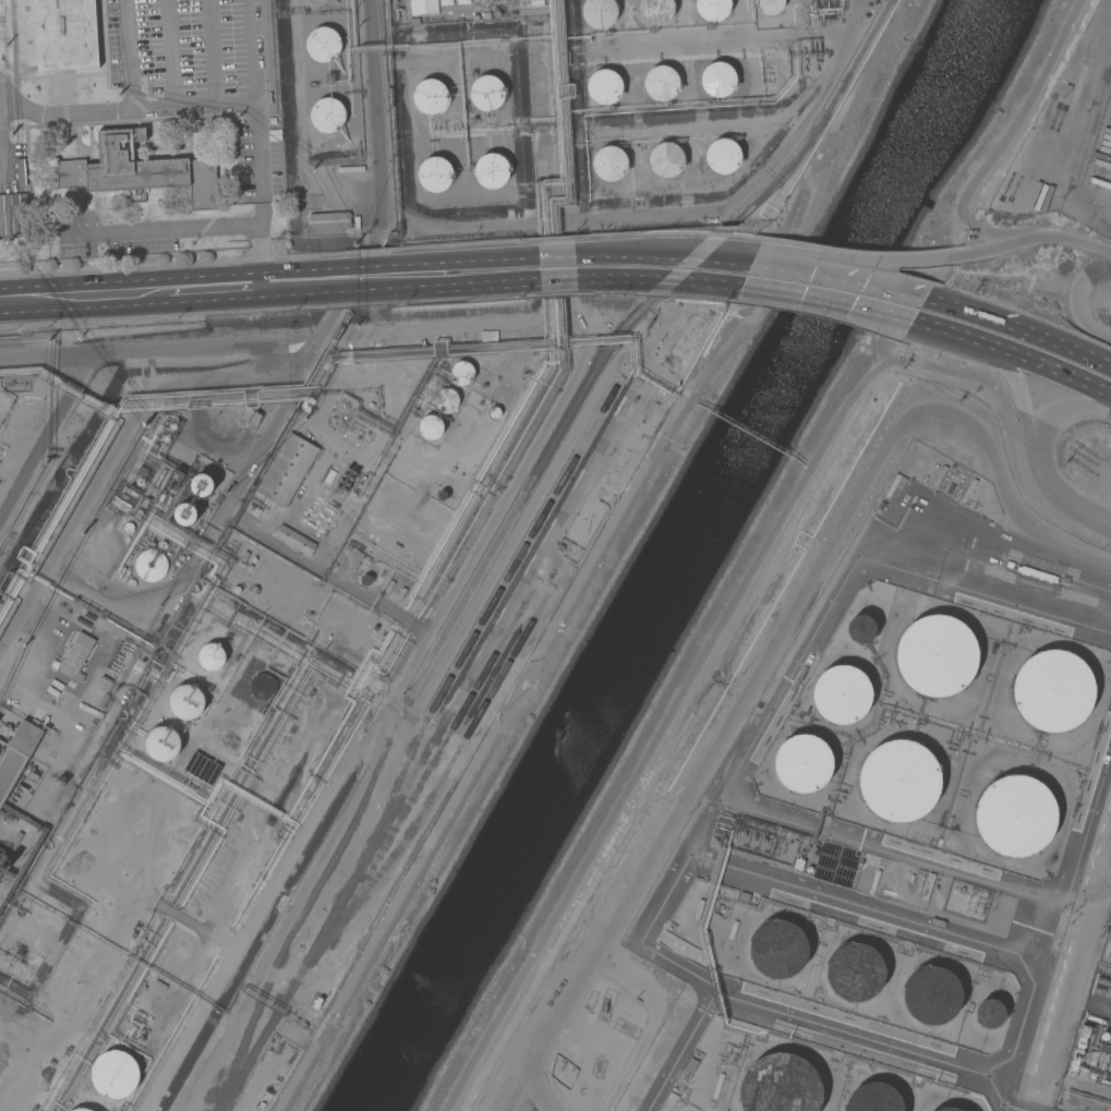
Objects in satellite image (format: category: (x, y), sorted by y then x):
building: (427, 4)
building: (450, 4)
building: (770, 5)
building: (712, 9)
building: (656, 11)
building: (597, 13)
building: (65, 34)
building: (323, 45)
road: (251, 51)
road: (213, 52)
road: (167, 55)
road: (124, 56)
building: (718, 79)
building: (661, 82)
building: (603, 87)
building: (1065, 88)
building: (486, 93)
building: (430, 96)
road: (121, 112)
building: (327, 113)
railway: (823, 122)
building: (722, 156)
road: (1, 157)
building: (664, 160)
road: (257, 162)
building: (608, 162)
building: (255, 164)
building: (138, 170)
building: (492, 170)
building: (20, 171)
building: (434, 174)
building: (13, 214)
building: (329, 220)
road: (194, 227)
road: (1027, 239)
road: (663, 254)
road: (555, 257)
road: (847, 257)
road: (484, 261)
road: (838, 276)
road: (351, 279)
road: (656, 280)
road: (556, 281)
road: (486, 285)
road: (202, 288)
road: (69, 295)
road: (825, 299)
road: (1077, 301)
road: (1018, 328)
road: (1012, 353)
building: (460, 373)
road: (1016, 388)
building: (446, 398)
building: (306, 403)
building: (343, 404)
road: (1062, 409)
building: (494, 410)
building: (251, 416)
building: (331, 422)
building: (171, 426)
building: (430, 426)
building: (165, 438)
storage tank: (348, 466)
building: (287, 470)
storage tank: (354, 470)
storage tank: (343, 471)
storage tank: (351, 475)
building: (174, 479)
storage tank: (340, 479)
building: (141, 482)
storage tank: (348, 482)
building: (201, 484)
storage tank: (337, 484)
storage tank: (343, 487)
building: (894, 487)
storage tank: (334, 490)
storage tank: (341, 493)
building: (442, 495)
storage tank: (331, 496)
road: (1059, 498)
storage tank: (338, 499)
building: (268, 502)
storage tank: (327, 502)
storage tank: (335, 505)
building: (265, 506)
storage tank: (324, 507)
building: (255, 511)
storage tank: (330, 511)
building: (185, 514)
storage tank: (321, 514)
storage tank: (328, 518)
storage tank: (317, 519)
storage tank: (324, 523)
storage tank: (314, 526)
building: (128, 527)
storage tank: (321, 529)
building: (293, 540)
building: (149, 541)
building: (161, 545)
building: (559, 547)
road: (761, 555)
building: (244, 556)
building: (180, 557)
road: (600, 557)
building: (177, 564)
building: (148, 565)
building: (1037, 573)
building: (364, 580)
building: (544, 581)
building: (131, 582)
road: (987, 588)
building: (236, 590)
railway: (480, 626)
building: (330, 629)
building: (861, 629)
storage tank: (861, 629)
road: (775, 637)
building: (347, 640)
building: (76, 656)
building: (212, 656)
building: (935, 656)
storage tank: (935, 656)
building: (104, 680)
building: (262, 686)
building: (1052, 688)
storage tank: (1052, 688)
railway: (413, 691)
building: (841, 693)
storage tank: (841, 693)
building: (185, 702)
building: (316, 717)
building: (76, 726)
building: (162, 742)
building: (299, 749)
railway: (428, 750)
building: (17, 752)
building: (802, 763)
storage tank: (802, 763)
building: (196, 764)
railway: (433, 765)
building: (212, 773)
building: (899, 782)
storage tank: (899, 782)
railway: (427, 806)
building: (1014, 814)
storage tank: (1014, 814)
building: (813, 853)
building: (8, 862)
building: (808, 869)
building: (873, 882)
building: (920, 885)
building: (928, 886)
building: (744, 896)
building: (733, 929)
power substation: (1106, 945)
building: (776, 949)
storage tank: (776, 949)
road: (1072, 963)
building: (855, 971)
storage tank: (855, 971)
building: (159, 986)
building: (931, 991)
storage tank: (931, 991)
building: (1101, 1009)
building: (989, 1013)
storage tank: (989, 1013)
building: (1095, 1018)
building: (1083, 1036)
building: (1103, 1036)
power plant: (1091, 1055)
building: (691, 1064)
building: (116, 1074)
building: (780, 1084)
storage tank: (780, 1084)
building: (717, 1085)
building: (874, 1099)
storage tank: (874, 1099)
building: (81, 1109)
building: (945, 1110)
storage tank: (945, 1110)
building: (1110, 1110)

